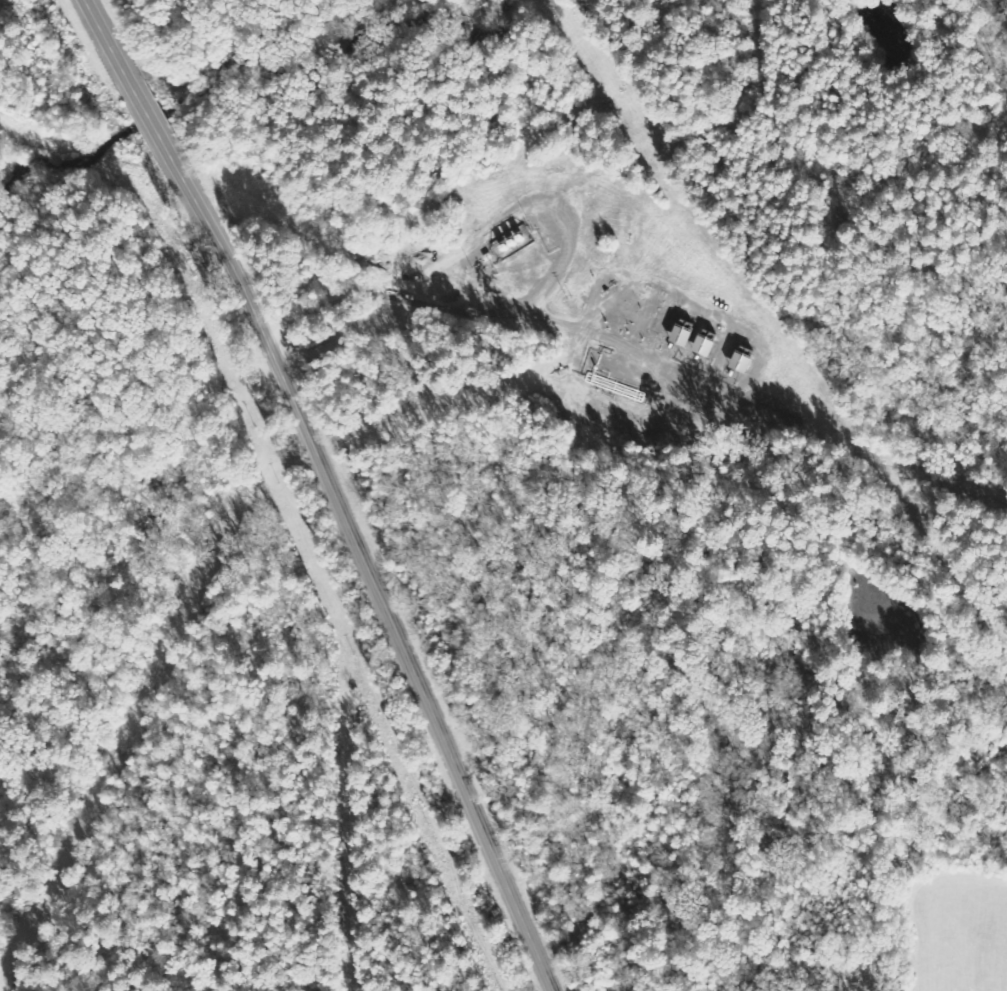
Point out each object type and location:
road: (496, 314)
building: (677, 335)
building: (700, 346)
building: (737, 362)
road: (332, 489)

